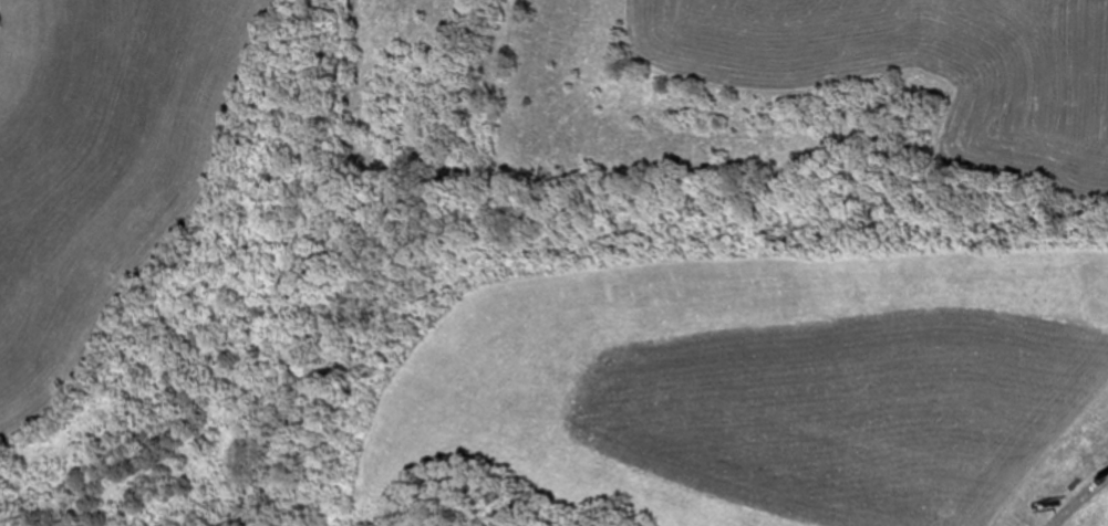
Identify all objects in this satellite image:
road: (292, 273)
road: (1064, 470)

